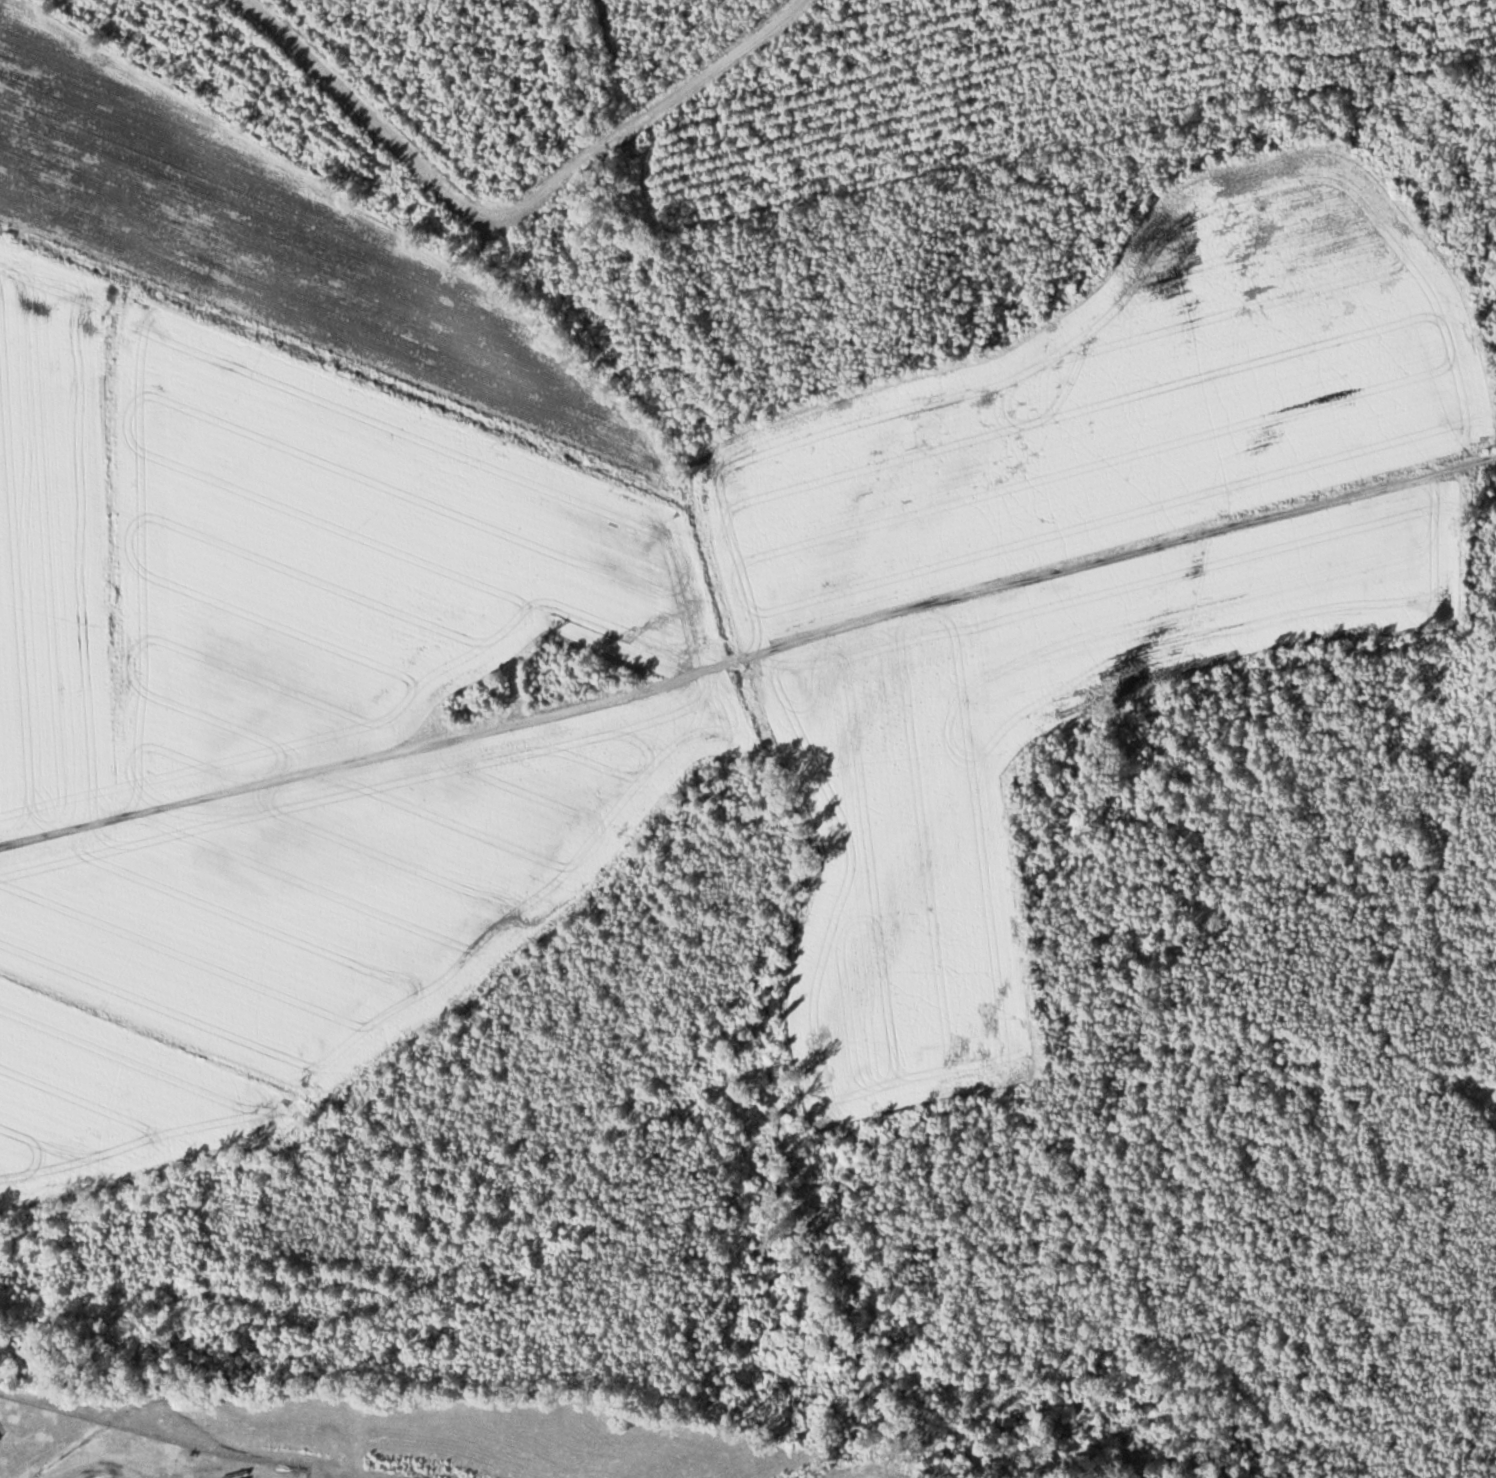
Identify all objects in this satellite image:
road: (516, 206)

